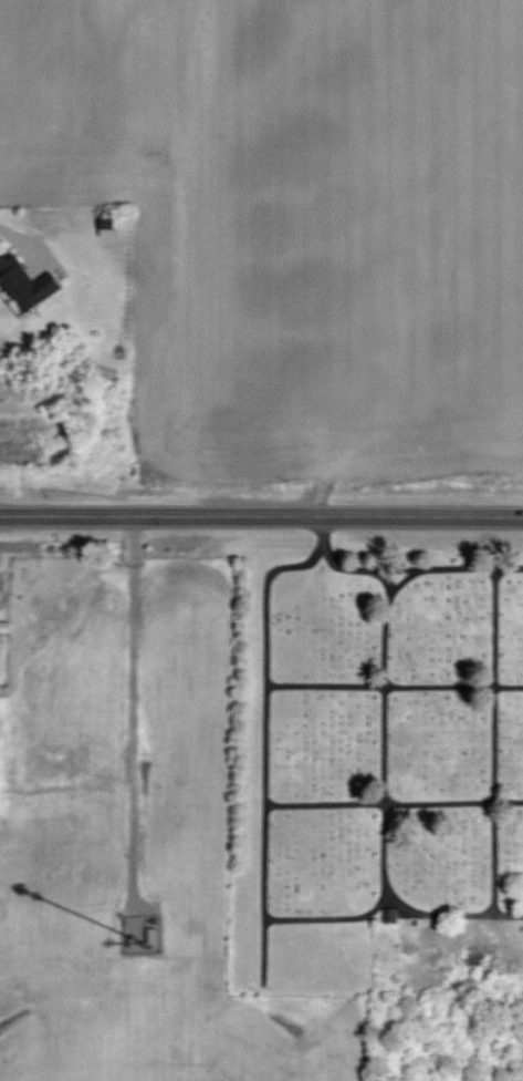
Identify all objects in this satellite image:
road: (15, 240)
building: (31, 286)
road: (261, 515)
building: (3, 612)
park: (370, 745)

